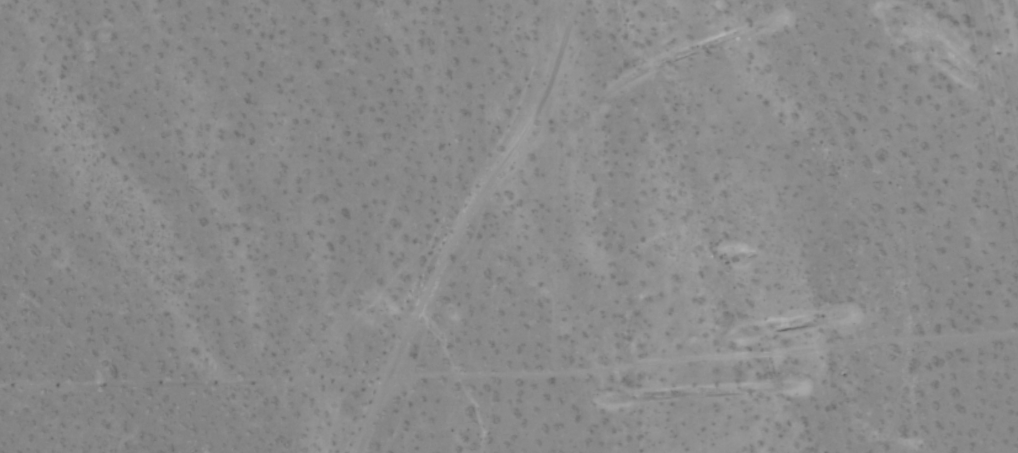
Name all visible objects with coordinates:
road: (1017, 4)

